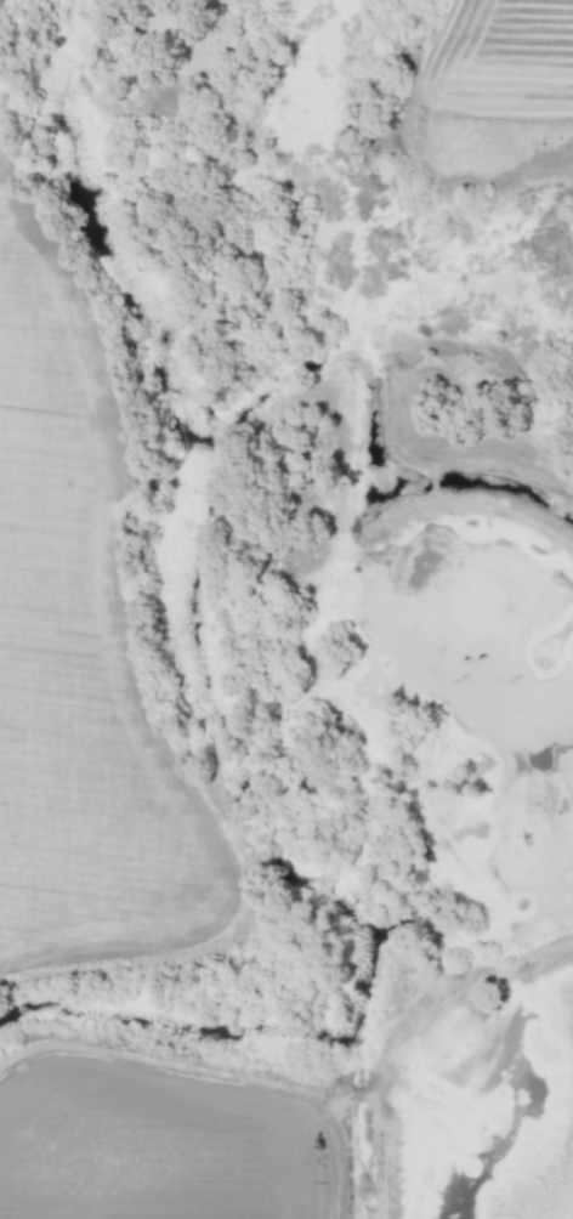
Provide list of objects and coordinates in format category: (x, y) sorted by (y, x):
crop: (147, 728)

